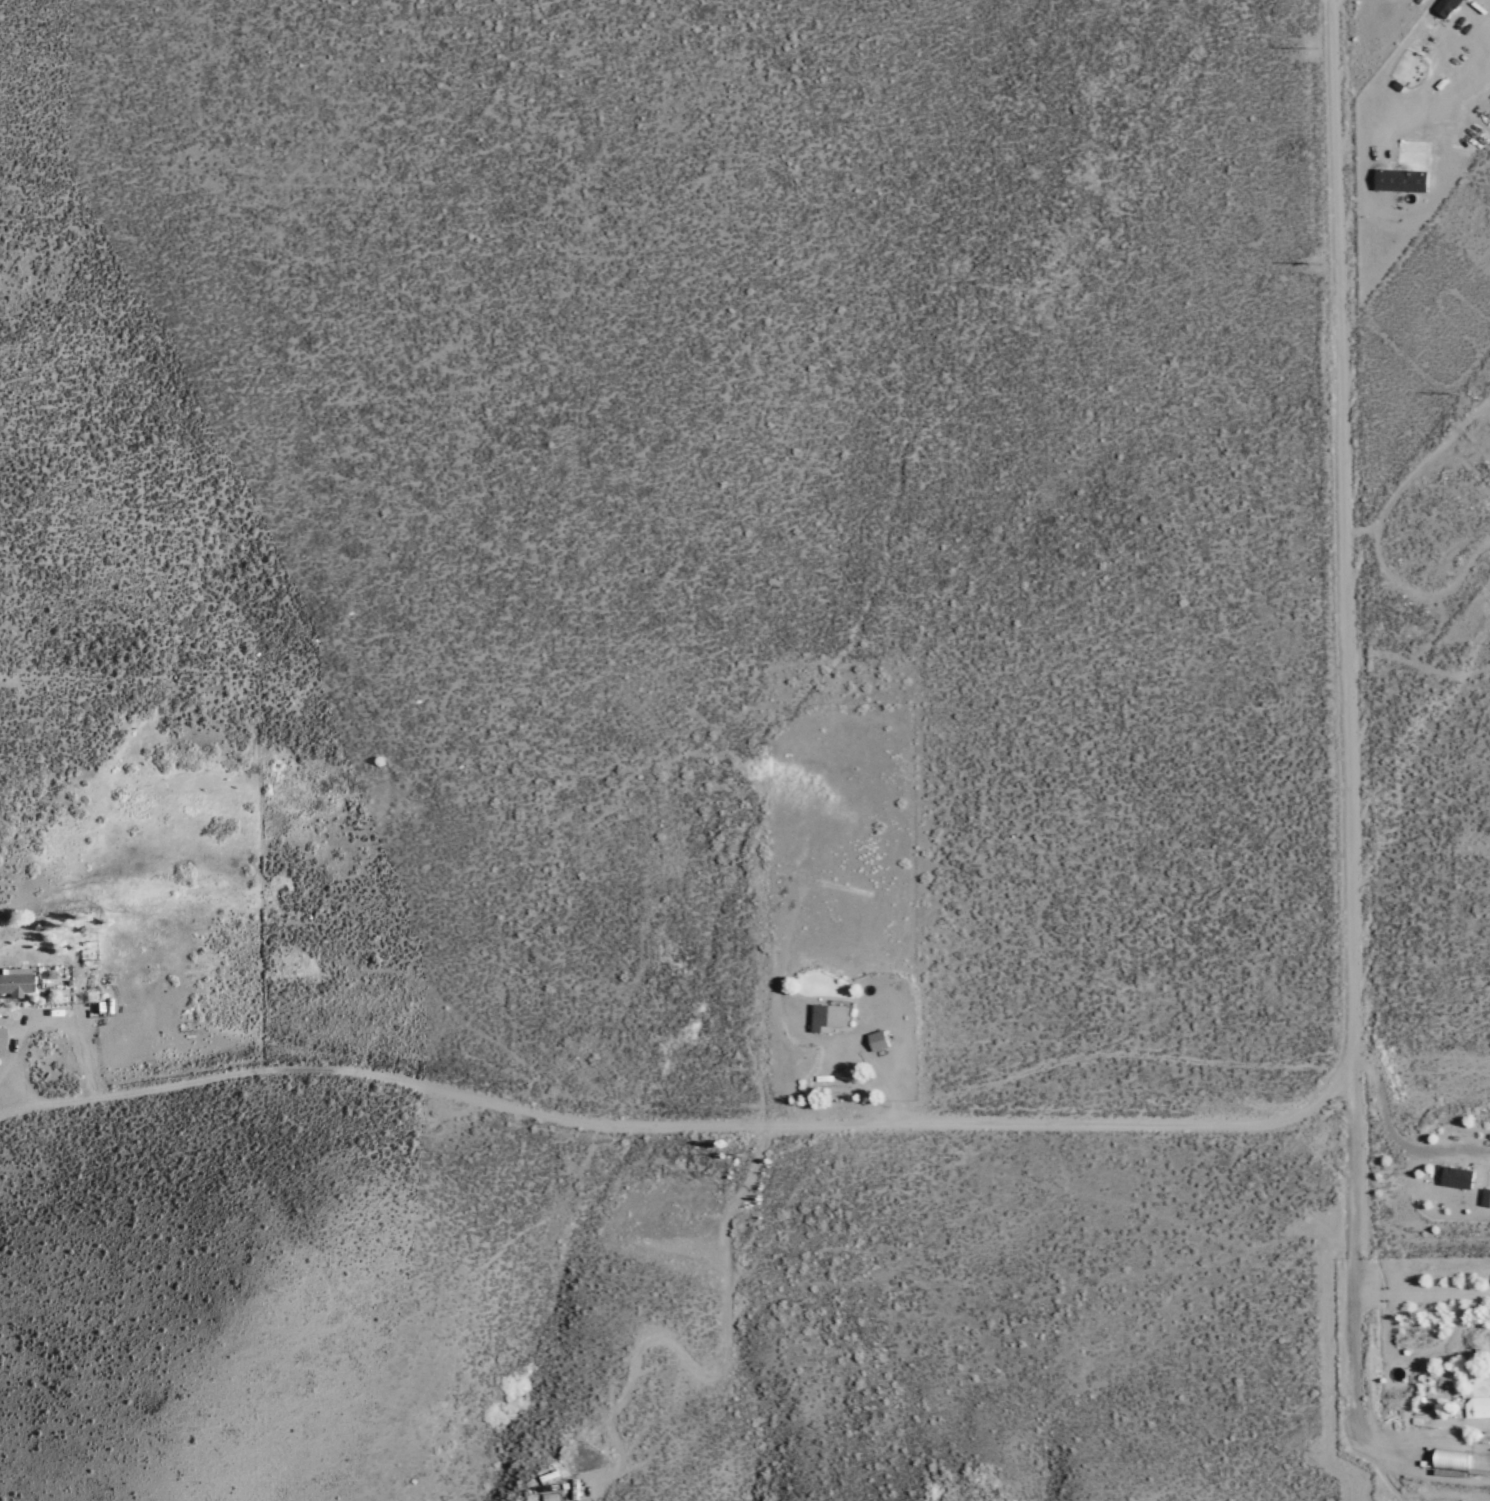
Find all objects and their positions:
building: (1444, 7)
building: (1398, 180)
road: (1347, 528)
building: (11, 981)
building: (825, 1016)
building: (875, 1039)
road: (753, 1119)
building: (1454, 1176)
building: (1484, 1197)
building: (1476, 1406)

